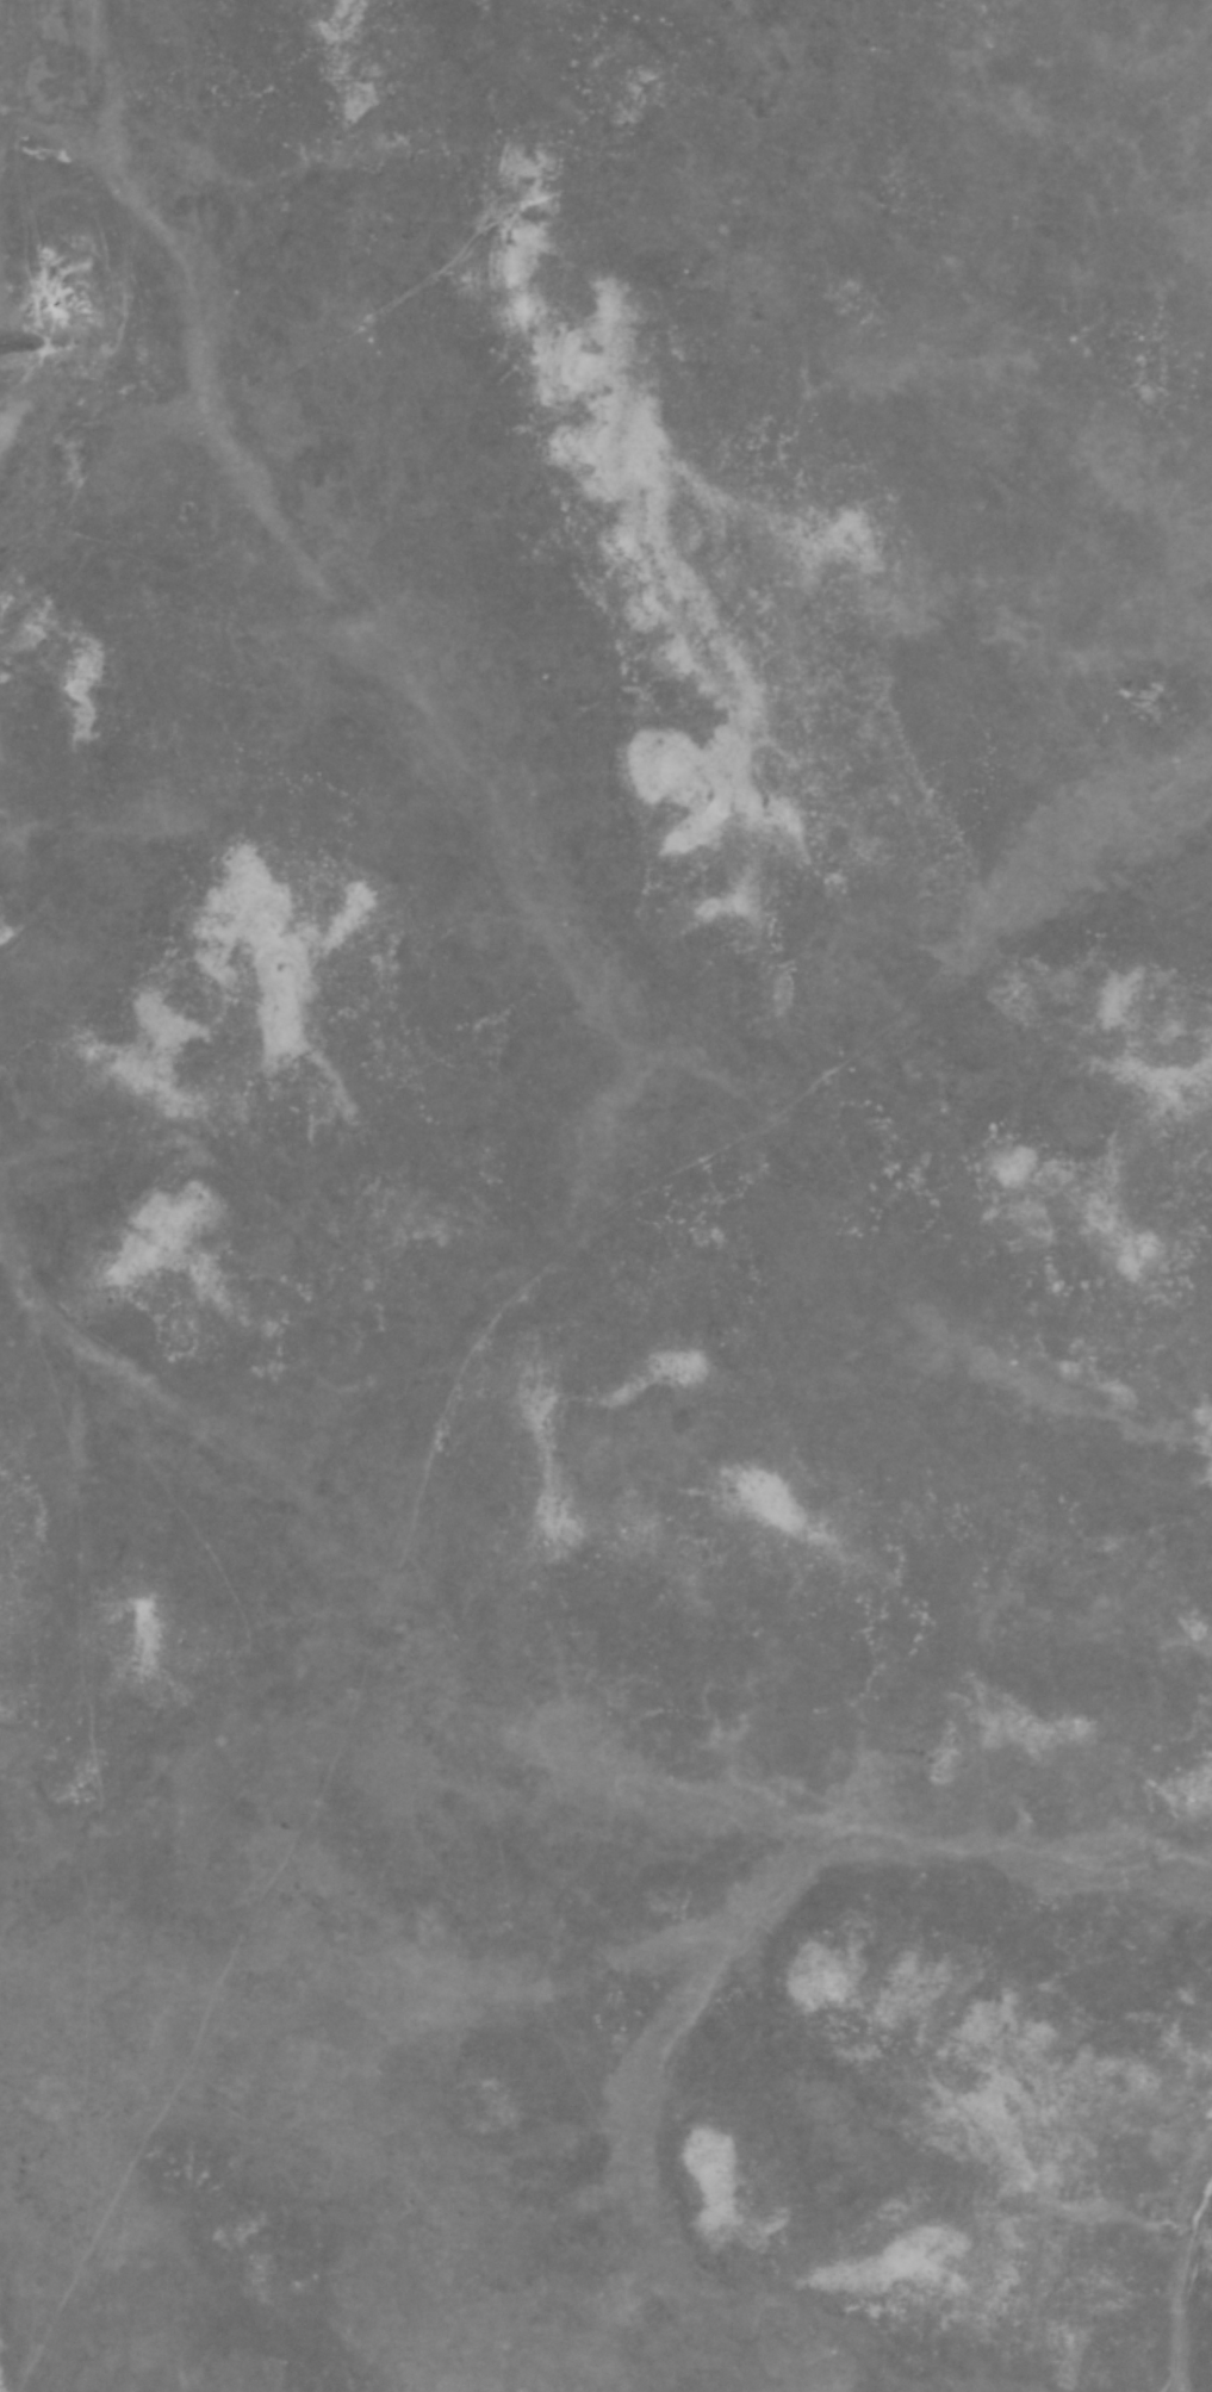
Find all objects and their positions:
dam: (33, 359)

